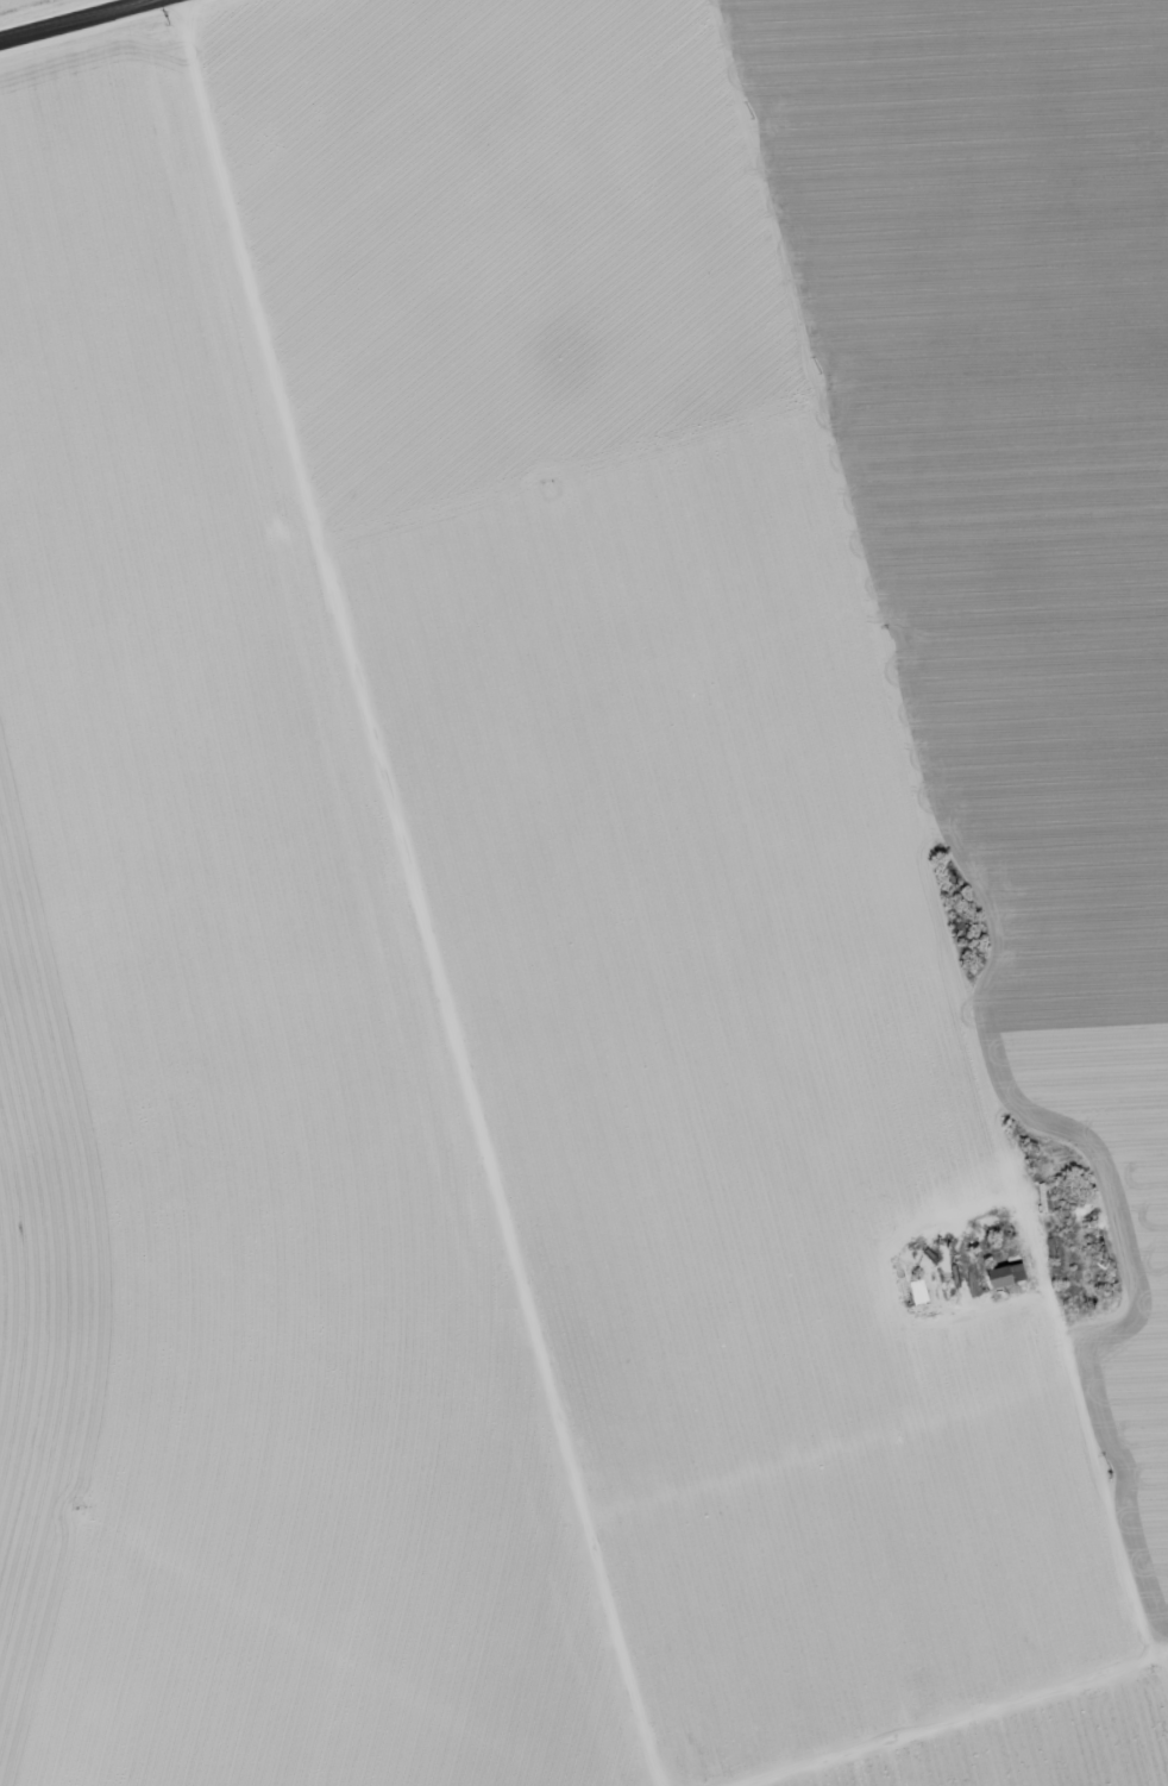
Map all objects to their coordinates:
road: (80, 21)
road: (432, 894)
building: (918, 1289)

